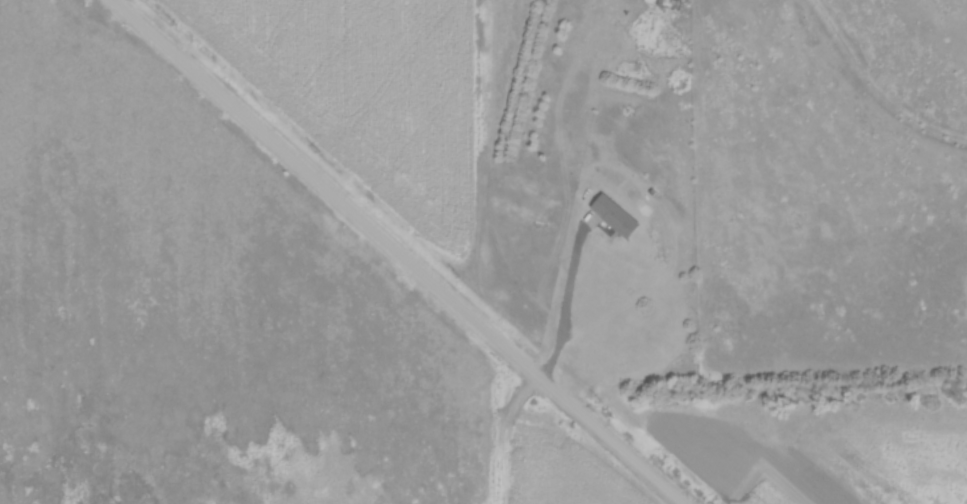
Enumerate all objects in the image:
building: (643, 2)
road: (568, 186)
building: (607, 216)
road: (401, 251)

